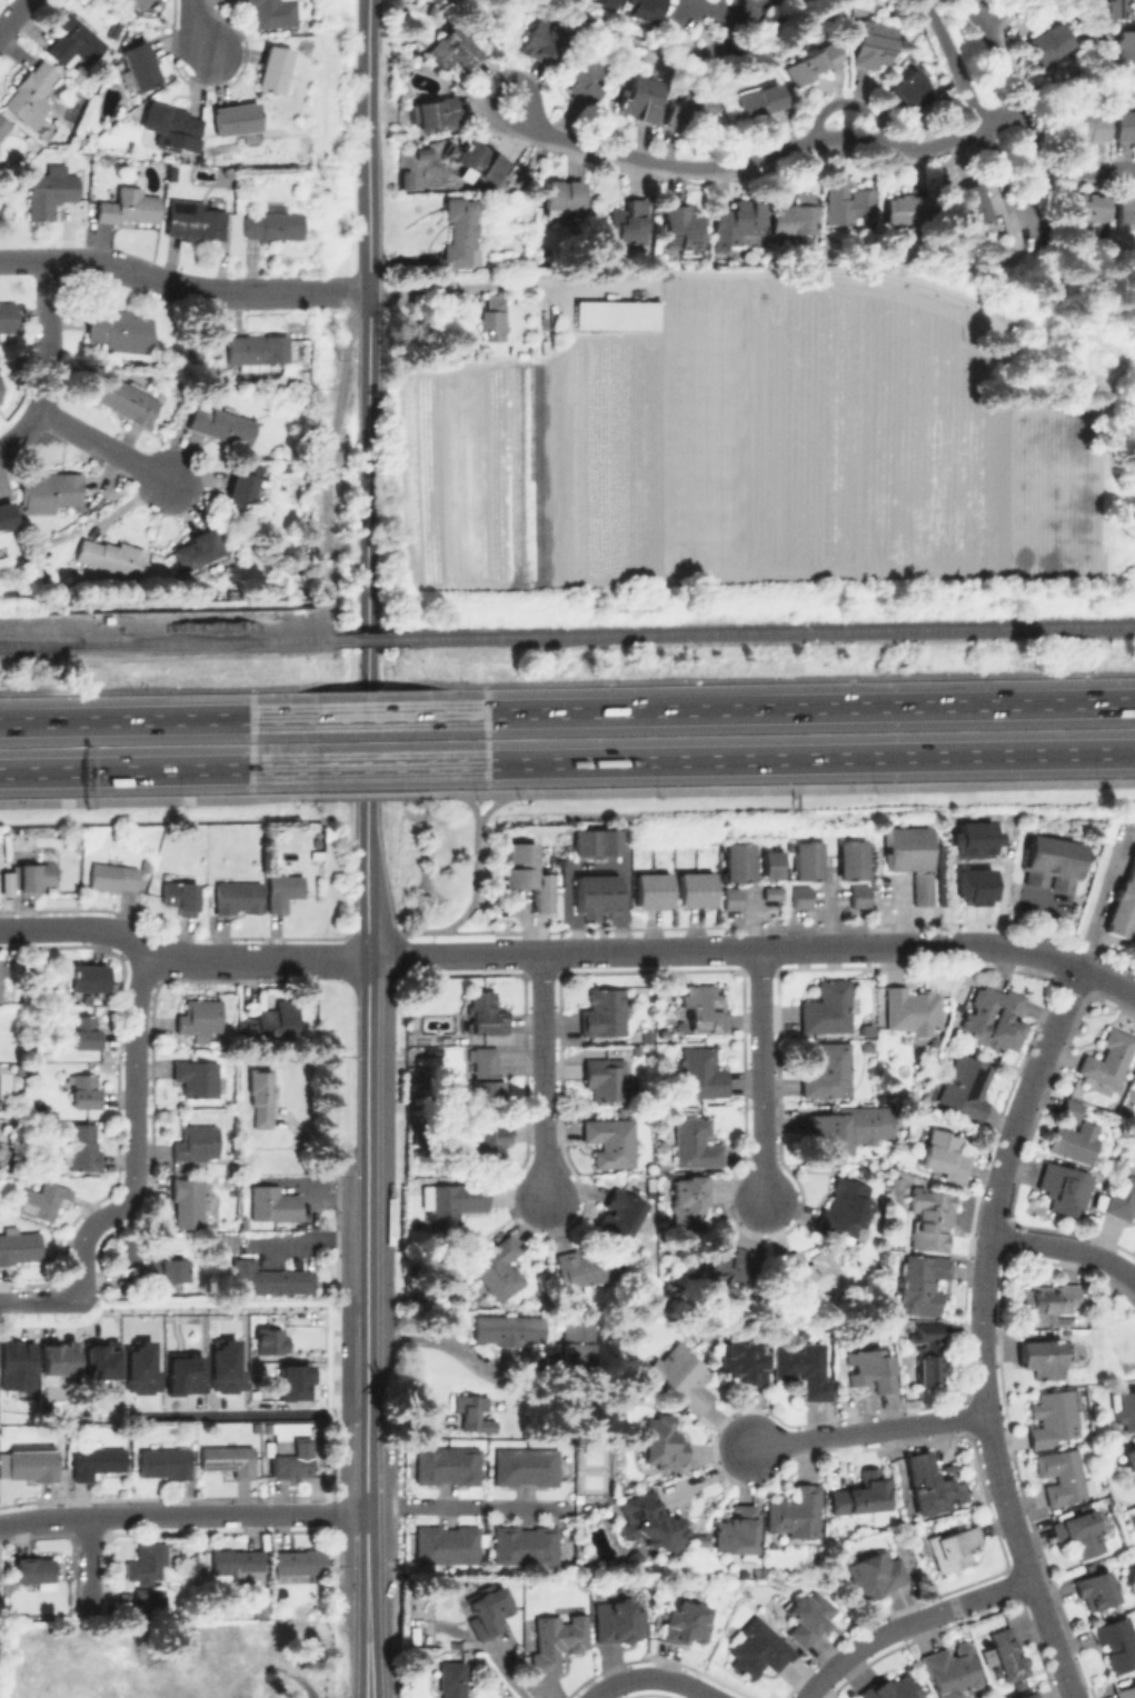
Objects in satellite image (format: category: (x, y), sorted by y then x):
building: (438, 1)
building: (142, 2)
building: (611, 2)
building: (1123, 8)
road: (996, 9)
building: (645, 10)
building: (435, 11)
building: (275, 12)
road: (13, 16)
road: (734, 17)
road: (198, 26)
building: (74, 39)
building: (1052, 42)
building: (545, 44)
building: (876, 44)
building: (1126, 50)
building: (454, 51)
building: (815, 61)
building: (141, 62)
building: (276, 67)
building: (584, 74)
building: (32, 91)
building: (917, 92)
building: (761, 94)
building: (643, 99)
building: (693, 109)
building: (436, 112)
building: (238, 118)
building: (3, 123)
building: (1124, 124)
building: (173, 126)
building: (1088, 126)
building: (81, 136)
building: (422, 151)
road: (760, 154)
building: (478, 159)
road: (1086, 168)
building: (202, 172)
building: (172, 173)
building: (406, 181)
building: (51, 191)
building: (565, 194)
building: (849, 202)
building: (129, 203)
building: (970, 206)
building: (1087, 208)
building: (1127, 208)
building: (908, 210)
building: (740, 216)
building: (797, 216)
building: (195, 220)
road: (1023, 221)
building: (630, 222)
building: (273, 223)
road: (370, 226)
building: (685, 227)
building: (462, 233)
road: (1025, 237)
road: (650, 278)
road: (182, 289)
building: (616, 313)
building: (495, 317)
building: (8, 319)
building: (121, 329)
building: (257, 347)
building: (511, 348)
road: (48, 366)
building: (127, 398)
building: (222, 423)
road: (103, 447)
crop: (747, 448)
building: (285, 466)
building: (257, 469)
building: (51, 489)
building: (238, 493)
building: (7, 515)
building: (198, 548)
building: (110, 555)
road: (316, 615)
road: (368, 626)
railway: (769, 636)
railway: (370, 641)
railway: (39, 643)
railway: (168, 645)
road: (793, 702)
road: (370, 710)
road: (145, 716)
road: (794, 757)
road: (371, 765)
road: (145, 769)
road: (794, 787)
road: (371, 793)
road: (145, 797)
road: (464, 807)
building: (976, 839)
building: (595, 841)
building: (904, 848)
building: (803, 850)
building: (848, 850)
building: (735, 852)
building: (1049, 859)
building: (768, 863)
building: (804, 869)
building: (848, 869)
building: (735, 871)
building: (32, 875)
building: (113, 876)
building: (526, 877)
road: (368, 879)
building: (978, 886)
building: (918, 888)
building: (283, 890)
building: (651, 890)
building: (695, 890)
building: (769, 892)
building: (181, 895)
building: (595, 895)
building: (239, 896)
building: (856, 896)
building: (798, 897)
building: (729, 898)
building: (1122, 900)
road: (470, 903)
road: (149, 942)
road: (755, 949)
road: (332, 959)
building: (2, 968)
building: (89, 976)
building: (826, 1008)
building: (912, 1009)
building: (705, 1010)
building: (603, 1013)
building: (484, 1015)
building: (199, 1018)
building: (994, 1018)
building: (270, 1023)
building: (86, 1032)
road: (367, 1055)
building: (1108, 1058)
building: (18, 1068)
building: (827, 1069)
building: (32, 1072)
building: (701, 1072)
road: (540, 1077)
road: (759, 1077)
building: (197, 1078)
building: (482, 1078)
building: (605, 1078)
building: (964, 1086)
building: (87, 1090)
building: (1134, 1092)
building: (261, 1095)
building: (924, 1099)
building: (1071, 1108)
road: (136, 1127)
building: (830, 1131)
building: (611, 1142)
building: (696, 1142)
building: (196, 1145)
building: (1079, 1145)
building: (82, 1147)
building: (494, 1149)
building: (945, 1155)
building: (414, 1182)
building: (1063, 1186)
building: (690, 1193)
building: (43, 1200)
building: (188, 1201)
building: (1121, 1201)
building: (275, 1205)
building: (846, 1206)
building: (450, 1207)
building: (620, 1213)
building: (932, 1216)
road: (366, 1222)
building: (19, 1246)
road: (1065, 1246)
building: (129, 1247)
building: (165, 1269)
building: (587, 1269)
building: (729, 1269)
building: (498, 1270)
building: (809, 1274)
building: (268, 1278)
building: (923, 1285)
road: (41, 1290)
building: (1048, 1302)
road: (366, 1316)
building: (505, 1329)
road: (982, 1330)
building: (929, 1331)
road: (437, 1342)
building: (574, 1345)
building: (259, 1351)
building: (1042, 1357)
building: (138, 1361)
building: (743, 1361)
building: (97, 1364)
building: (181, 1364)
building: (53, 1365)
building: (16, 1366)
building: (929, 1366)
building: (806, 1369)
building: (866, 1369)
building: (679, 1375)
building: (287, 1389)
building: (1125, 1410)
building: (468, 1415)
building: (1054, 1417)
road: (365, 1425)
road: (865, 1430)
building: (664, 1442)
building: (290, 1457)
building: (228, 1459)
building: (97, 1461)
building: (165, 1461)
building: (33, 1464)
building: (1129, 1464)
building: (446, 1466)
building: (525, 1467)
building: (1062, 1477)
building: (930, 1482)
building: (860, 1497)
road: (467, 1506)
building: (798, 1510)
building: (1133, 1510)
road: (181, 1514)
building: (651, 1521)
building: (736, 1530)
building: (1081, 1534)
building: (447, 1545)
building: (526, 1545)
building: (955, 1546)
building: (633, 1560)
building: (147, 1561)
building: (239, 1564)
building: (298, 1564)
road: (90, 1567)
building: (818, 1570)
building: (34, 1571)
building: (874, 1574)
building: (1094, 1589)
building: (149, 1601)
road: (368, 1604)
building: (257, 1609)
building: (489, 1611)
building: (807, 1617)
building: (618, 1621)
road: (905, 1621)
building: (686, 1624)
building: (557, 1640)
building: (1117, 1642)
building: (756, 1649)
building: (1006, 1656)
building: (948, 1670)
building: (452, 1679)
road: (657, 1679)
building: (892, 1688)
building: (211, 1690)
building: (1125, 1691)
road: (819, 1692)
building: (1028, 1694)

